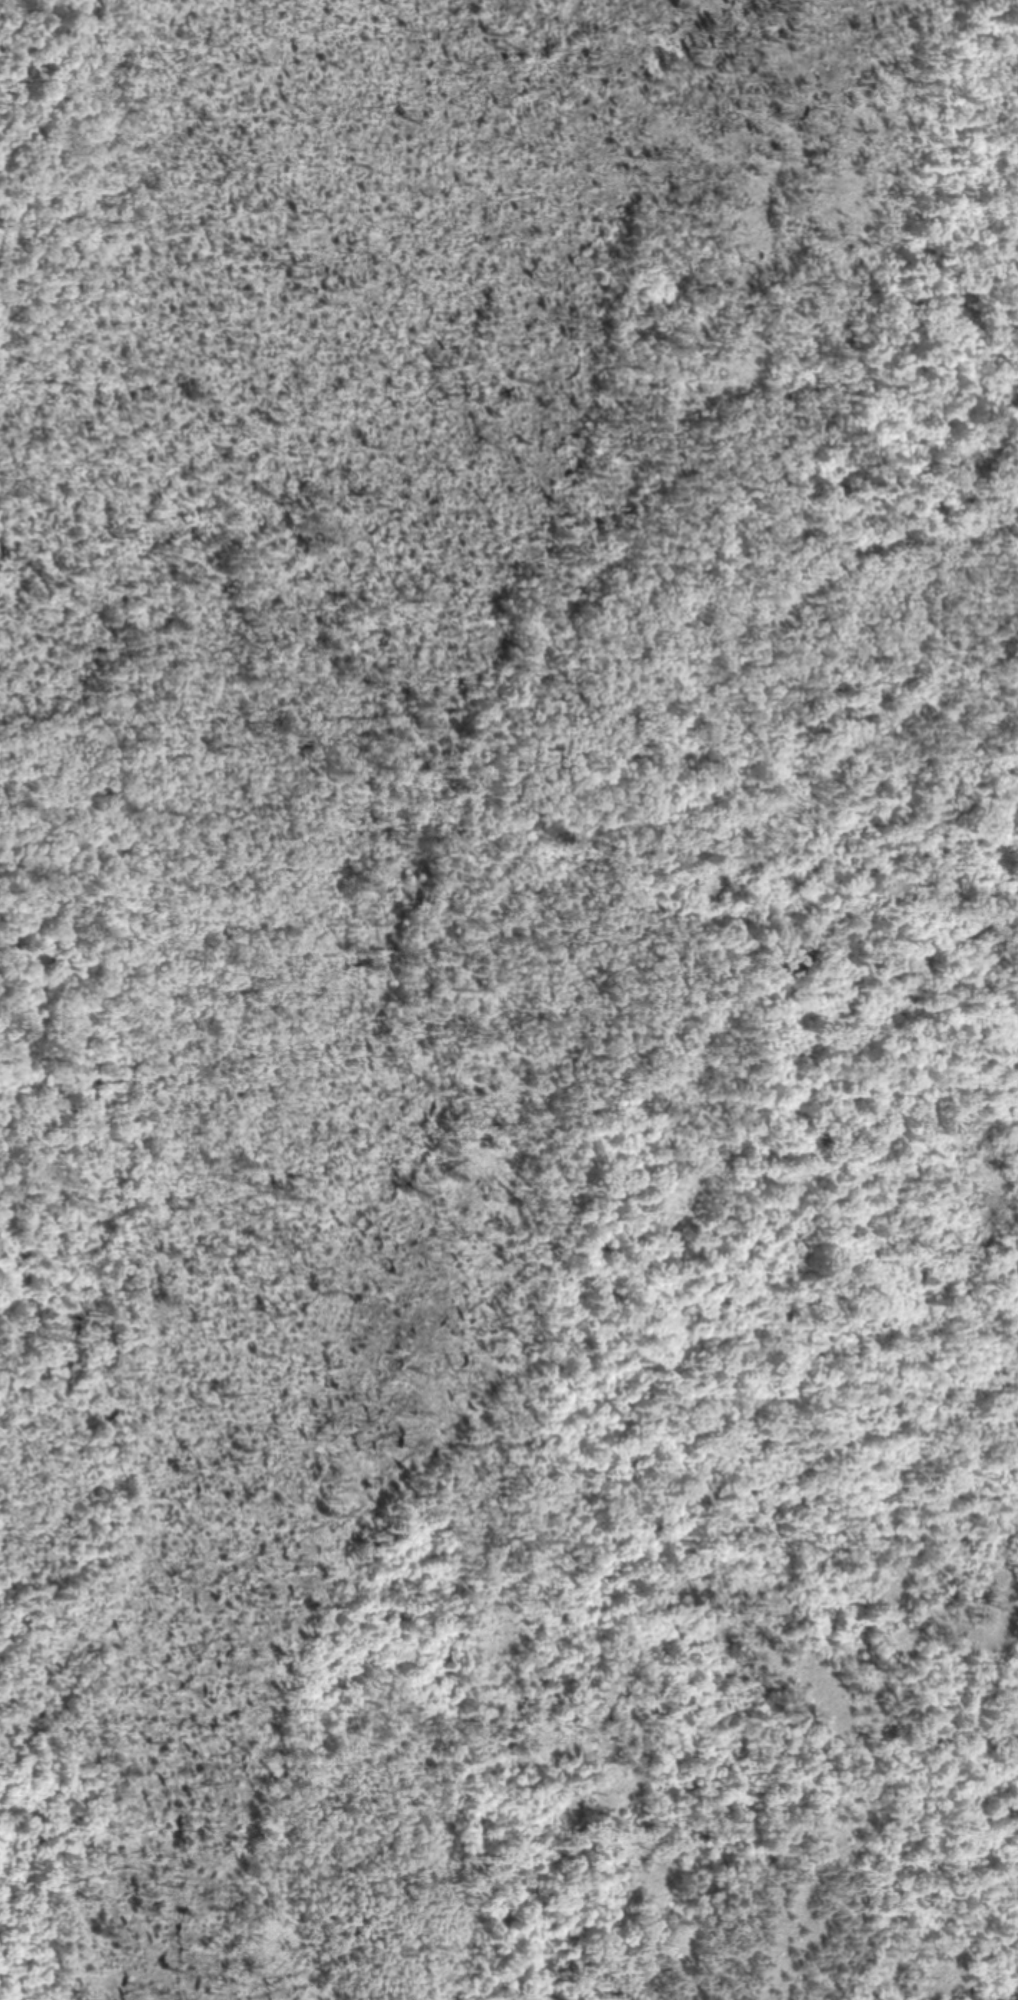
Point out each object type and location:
park: (509, 1000)

